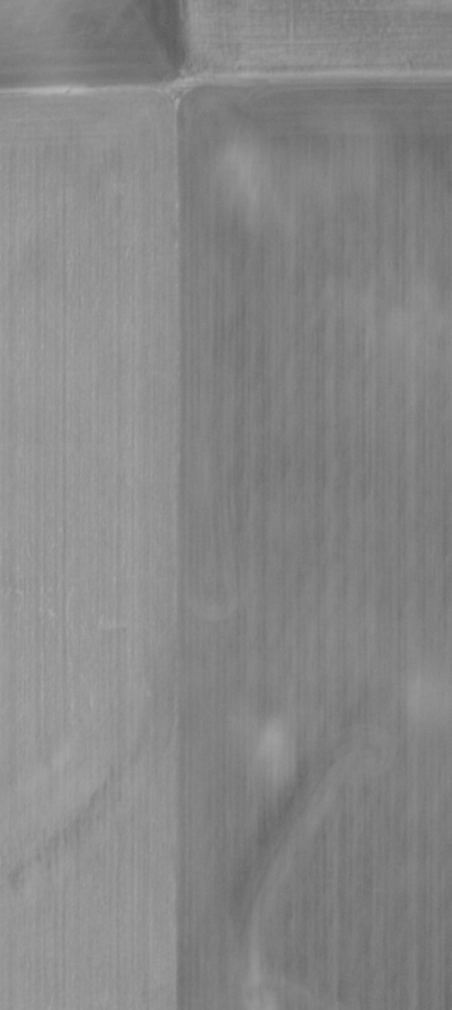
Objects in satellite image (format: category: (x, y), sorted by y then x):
crop: (218, 37)
road: (225, 79)
crop: (226, 548)

